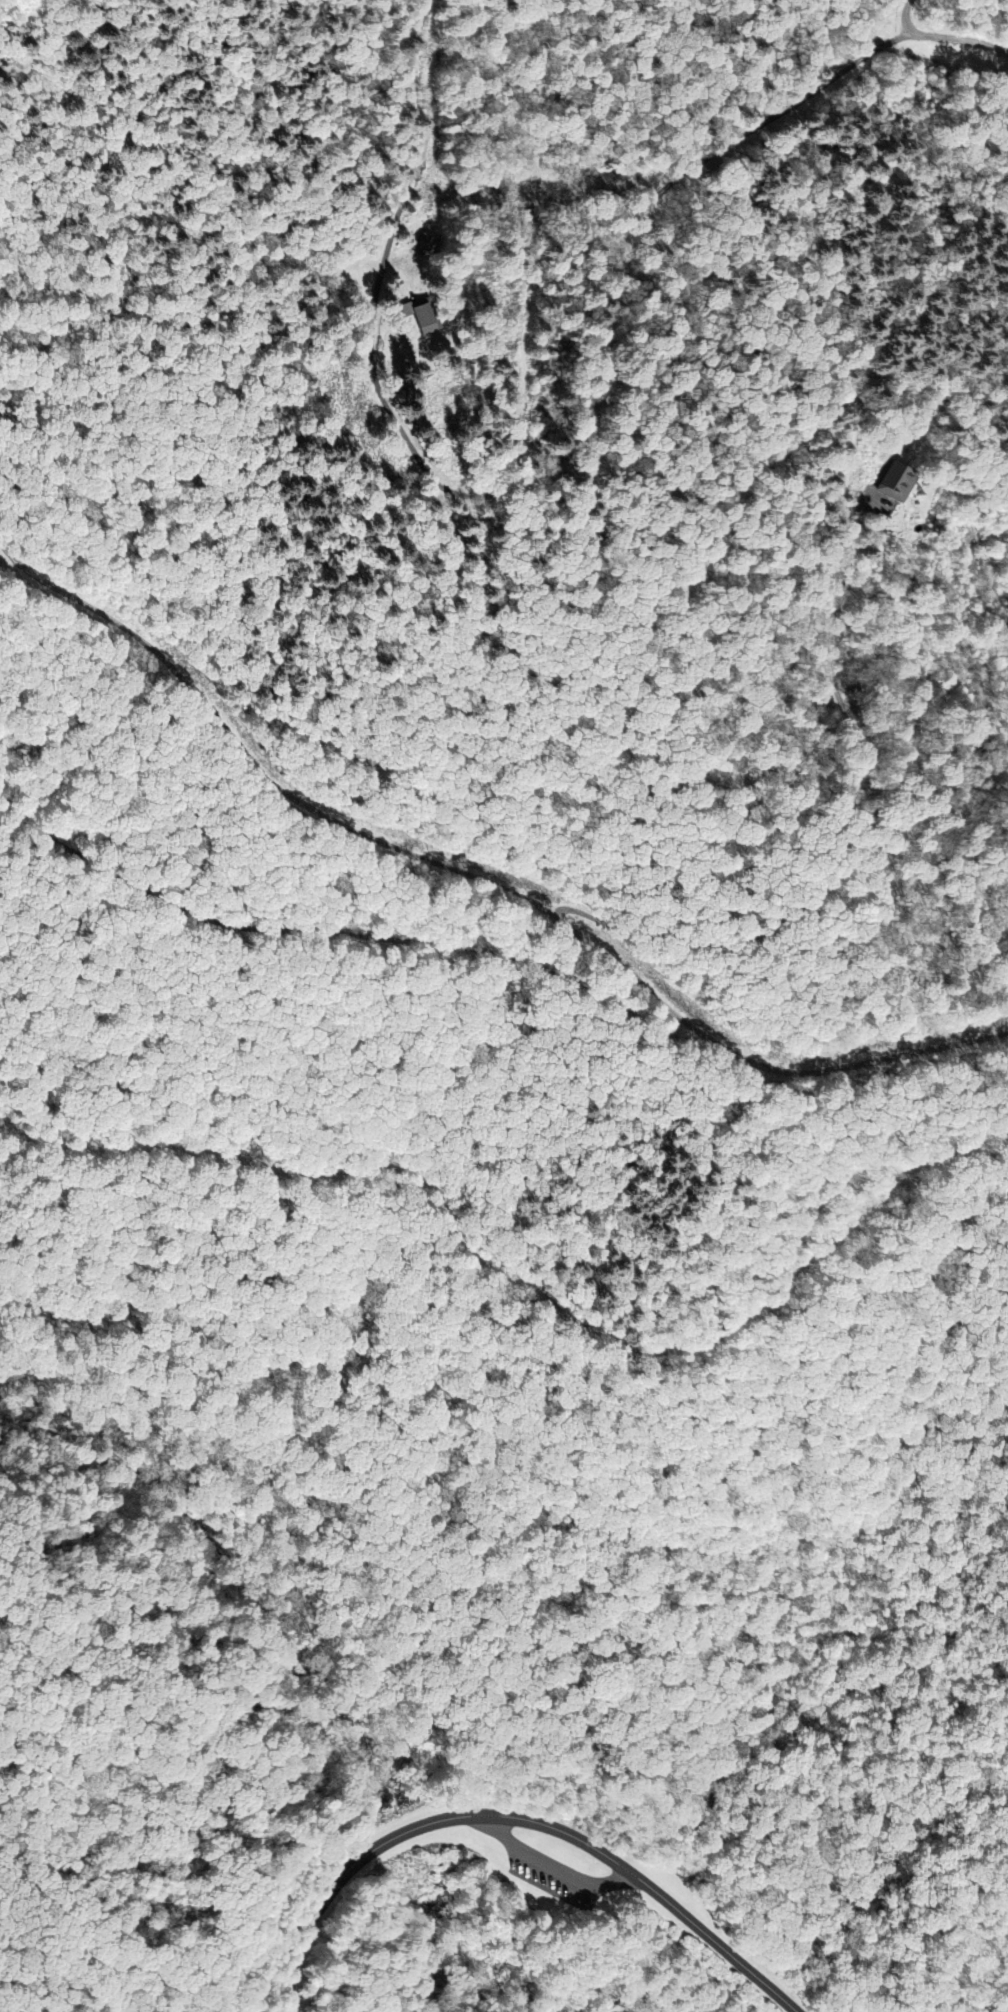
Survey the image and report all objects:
road: (908, 16)
road: (963, 37)
road: (544, 474)
building: (888, 489)
road: (476, 875)
road: (359, 934)
road: (746, 1318)
road: (398, 1647)
road: (404, 1724)
road: (520, 1815)
parking lot: (553, 1871)
road: (553, 1871)
road: (594, 1902)

